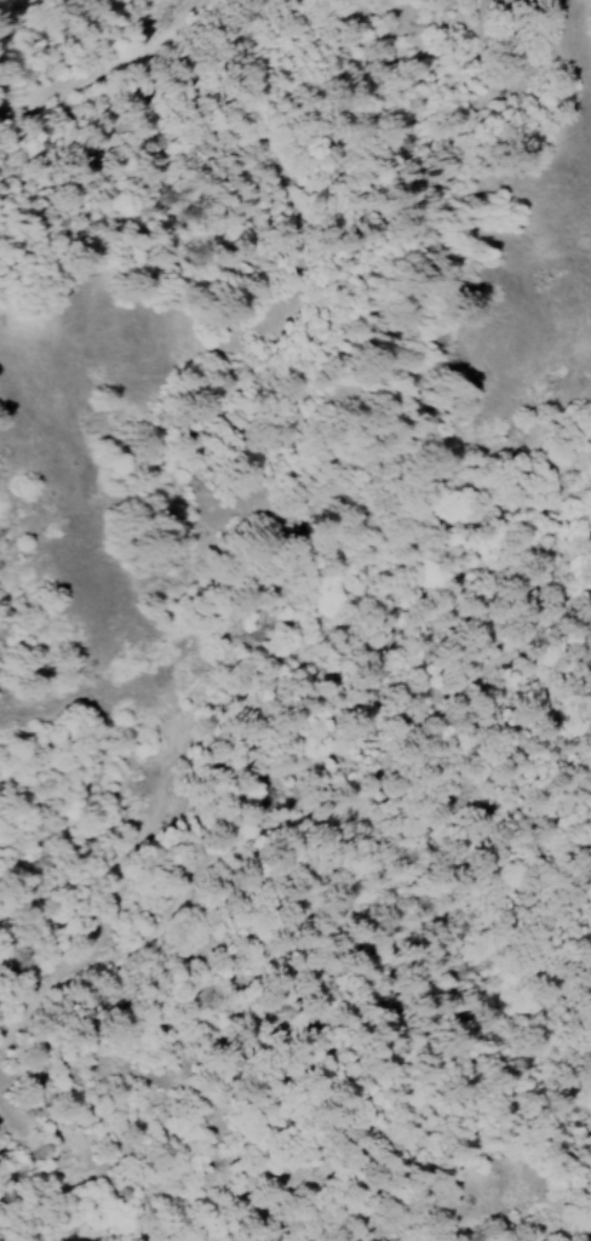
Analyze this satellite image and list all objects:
road: (91, 926)
road: (94, 1173)

